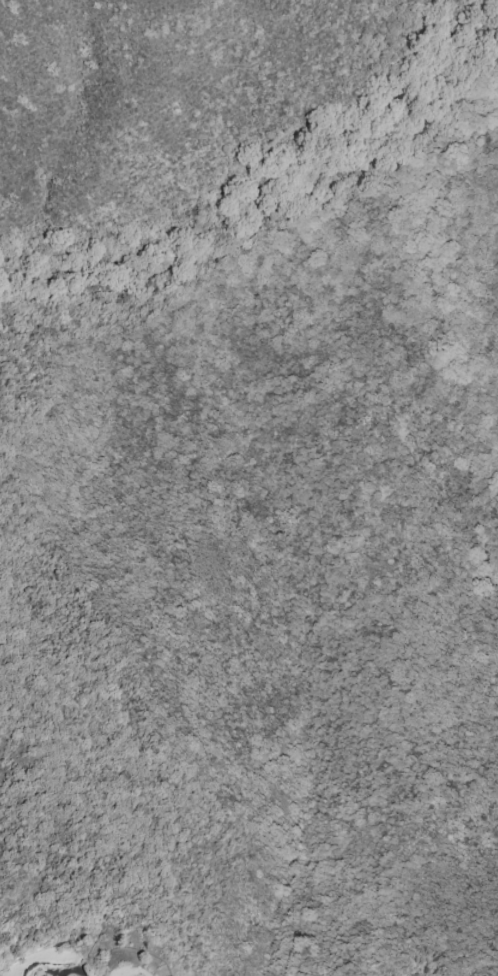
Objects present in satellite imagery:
road: (254, 232)

